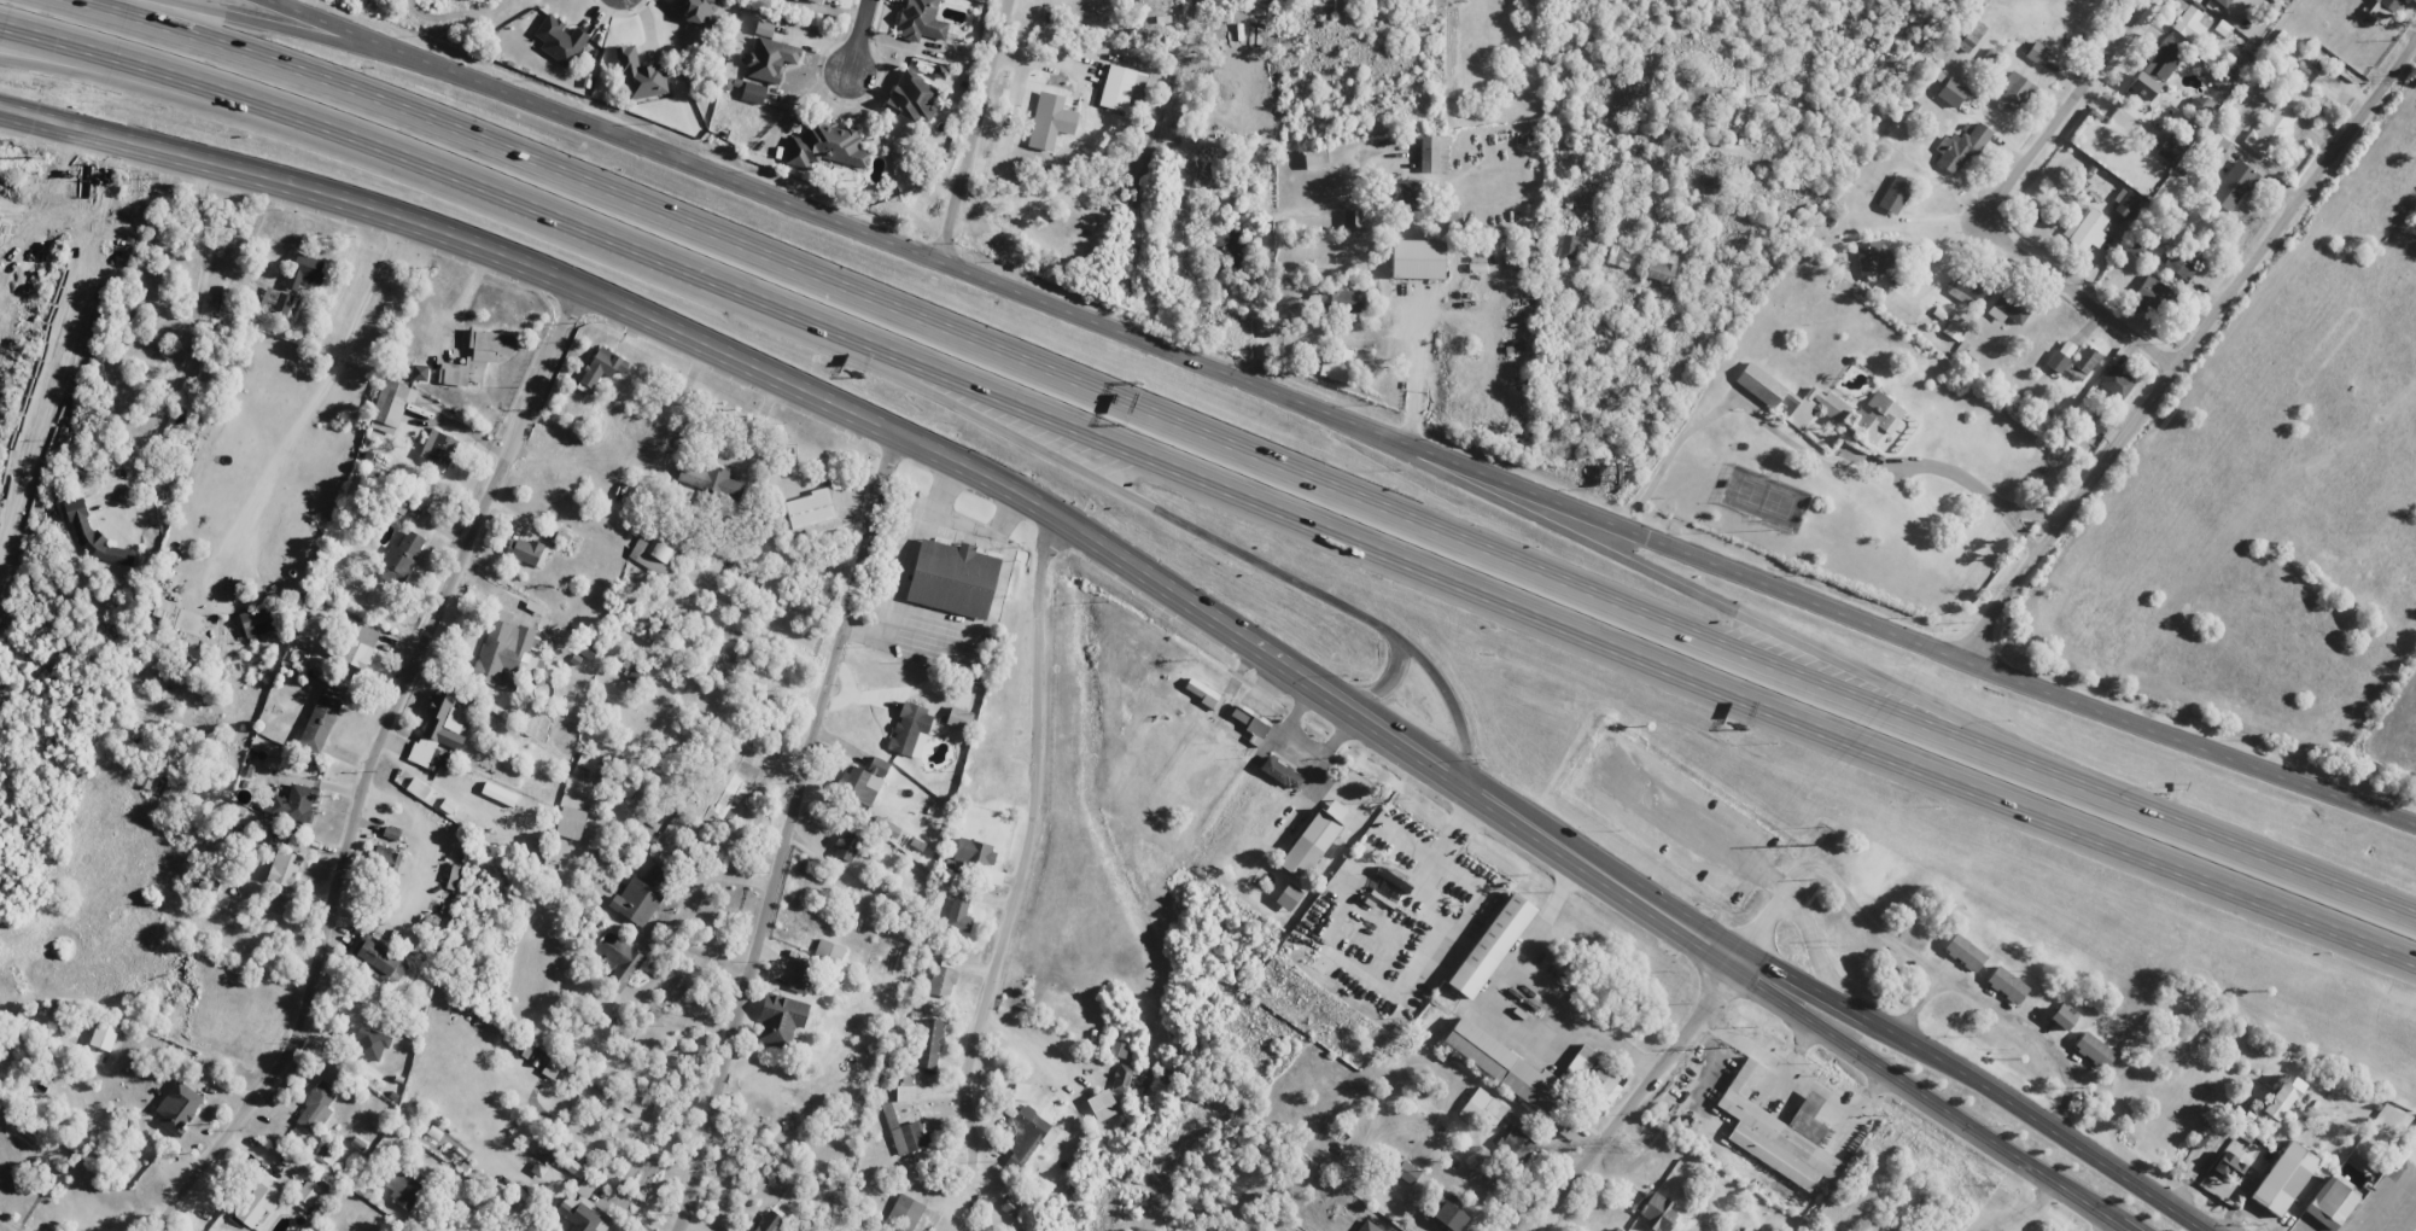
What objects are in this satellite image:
building: (816, 0)
building: (2223, 2)
building: (2392, 5)
building: (700, 11)
building: (921, 21)
building: (2190, 23)
building: (763, 29)
road: (860, 34)
building: (1971, 36)
road: (309, 37)
building: (560, 40)
building: (2037, 53)
building: (1990, 56)
building: (770, 59)
building: (2163, 59)
building: (640, 75)
road: (130, 81)
building: (1125, 82)
building: (2142, 86)
building: (2014, 91)
building: (753, 93)
building: (1694, 94)
building: (914, 98)
building: (2198, 105)
building: (1055, 124)
building: (2271, 129)
road: (979, 133)
road: (608, 134)
building: (1668, 135)
building: (2172, 144)
building: (824, 146)
building: (1961, 147)
building: (1434, 153)
power tower: (34, 157)
building: (1315, 159)
building: (1710, 185)
building: (2234, 185)
building: (1404, 192)
building: (1895, 194)
road: (2003, 202)
building: (2124, 204)
building: (2085, 231)
building: (1568, 246)
building: (1231, 247)
building: (2137, 249)
building: (1617, 256)
building: (1873, 258)
building: (1417, 259)
building: (2181, 263)
building: (1659, 270)
building: (305, 272)
building: (1965, 288)
building: (2152, 294)
building: (269, 298)
building: (1323, 298)
building: (1347, 301)
building: (284, 303)
building: (2009, 309)
building: (1955, 327)
road: (2184, 343)
building: (477, 356)
building: (2060, 356)
building: (2083, 362)
building: (1335, 364)
building: (602, 366)
building: (2116, 383)
building: (1795, 399)
building: (391, 406)
building: (1877, 419)
road: (911, 445)
building: (438, 448)
road: (1230, 449)
building: (708, 480)
road: (1213, 484)
road: (1117, 490)
building: (809, 509)
building: (94, 536)
road: (1680, 547)
building: (526, 552)
building: (652, 554)
building: (401, 558)
building: (952, 578)
power tower: (2043, 587)
building: (163, 609)
building: (256, 623)
road: (1772, 628)
building: (504, 654)
road: (1382, 682)
building: (1203, 693)
building: (958, 718)
building: (320, 719)
building: (1250, 722)
building: (909, 728)
building: (438, 731)
road: (367, 766)
building: (584, 766)
building: (1282, 772)
building: (862, 781)
building: (418, 788)
building: (731, 793)
building: (293, 804)
building: (1336, 809)
parking lot: (1670, 813)
building: (570, 823)
building: (885, 825)
road: (1688, 829)
building: (391, 833)
road: (784, 833)
building: (278, 839)
building: (846, 846)
road: (1021, 846)
building: (1314, 847)
building: (974, 851)
building: (386, 858)
building: (284, 868)
building: (658, 879)
building: (1389, 885)
building: (1288, 897)
building: (635, 902)
building: (959, 911)
road: (1761, 927)
road: (1814, 944)
building: (1494, 946)
building: (829, 950)
building: (1968, 955)
building: (379, 959)
building: (618, 959)
building: (800, 976)
building: (941, 981)
building: (2009, 987)
building: (2064, 1016)
building: (780, 1019)
building: (370, 1043)
road: (1021, 1043)
building: (928, 1044)
power tower: (1718, 1048)
building: (2097, 1052)
building: (1505, 1068)
building: (1591, 1075)
building: (1121, 1078)
road: (1976, 1084)
building: (905, 1089)
building: (1020, 1091)
road: (1634, 1096)
building: (2281, 1097)
road: (1928, 1099)
building: (1102, 1104)
building: (177, 1107)
building: (316, 1108)
building: (1482, 1108)
building: (905, 1132)
building: (1778, 1132)
building: (1026, 1136)
building: (1517, 1143)
power tower: (1632, 1144)
building: (573, 1167)
building: (2228, 1167)
building: (1405, 1171)
building: (2286, 1180)
building: (402, 1189)
building: (307, 1195)
building: (259, 1200)
building: (2329, 1203)
building: (1009, 1206)
building: (1657, 1210)
building: (583, 1212)
building: (903, 1214)
building: (1447, 1215)
building: (769, 1221)
building: (1367, 1226)
building: (1616, 1229)
building: (747, 1230)
building: (1750, 1230)

